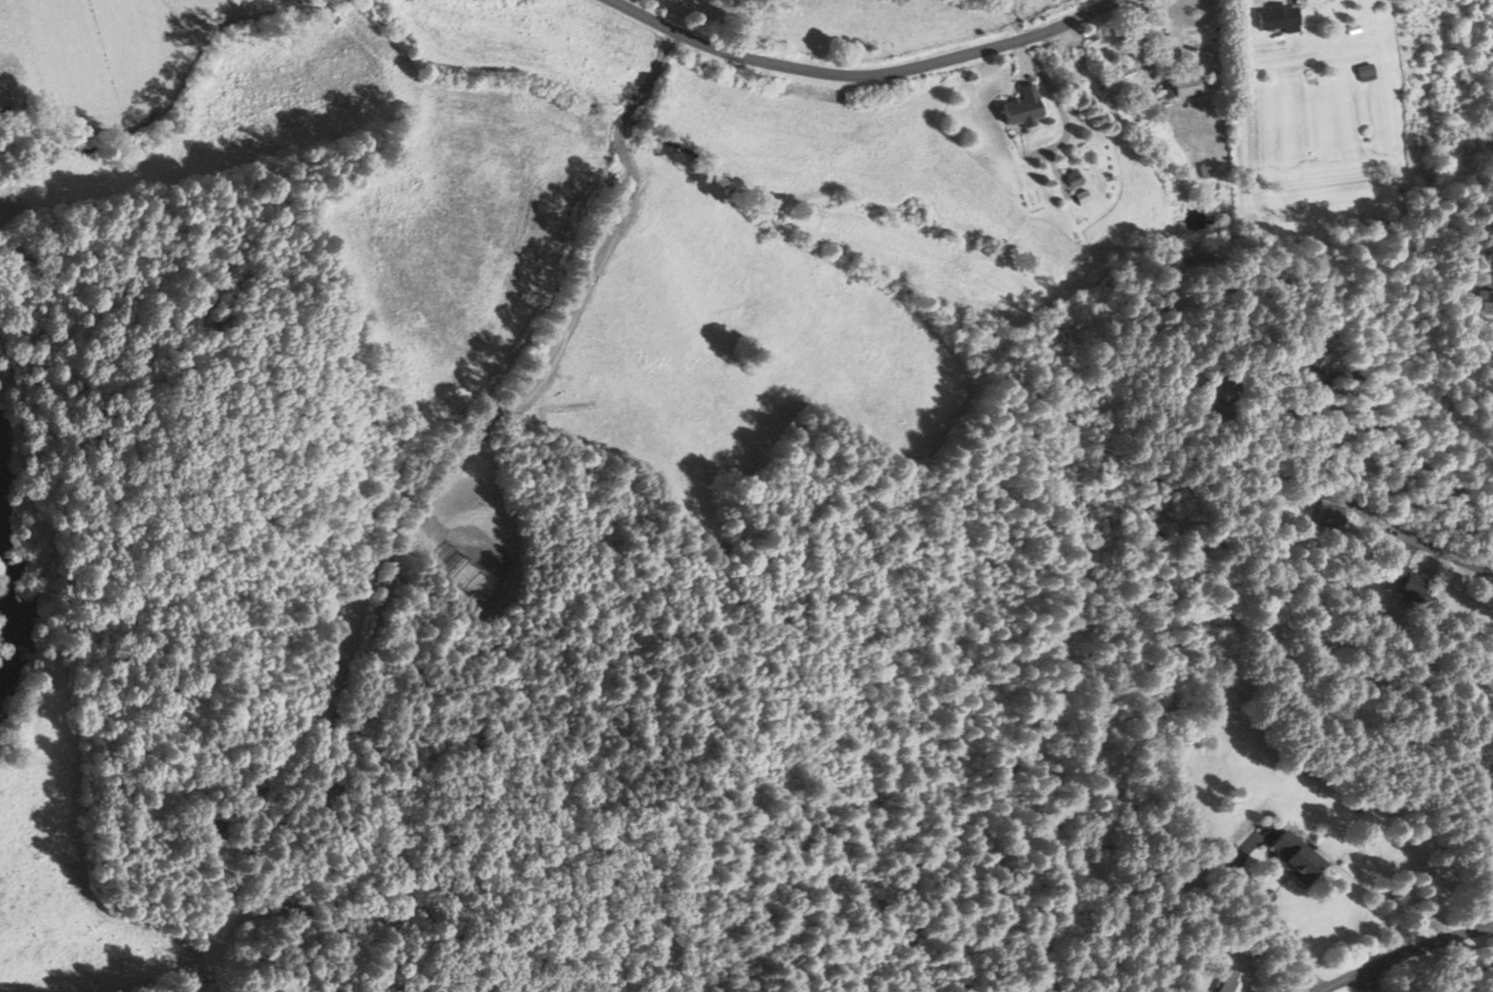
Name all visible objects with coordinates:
building: (1271, 18)
road: (863, 70)
building: (1361, 72)
building: (1179, 86)
building: (1017, 107)
building: (1483, 301)
road: (1434, 472)
building: (1324, 516)
road: (1415, 537)
river: (4, 558)
building: (1405, 583)
river: (9, 650)
building: (1286, 856)
road: (1403, 955)
building: (1228, 982)
road: (1363, 982)

